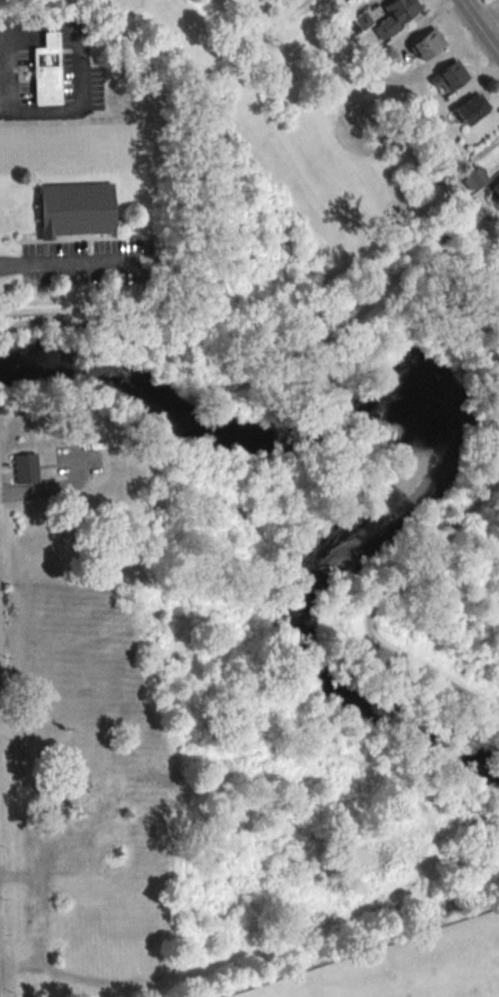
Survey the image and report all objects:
building: (345, 0)
building: (390, 17)
building: (359, 20)
road: (1, 25)
road: (477, 29)
building: (422, 44)
building: (382, 55)
road: (4, 68)
road: (78, 69)
building: (45, 73)
building: (447, 76)
building: (465, 111)
building: (466, 179)
building: (492, 189)
building: (70, 210)
road: (76, 262)
road: (476, 357)
road: (266, 371)
river: (436, 441)
building: (23, 468)
road: (42, 490)
road: (395, 586)
park: (168, 714)

